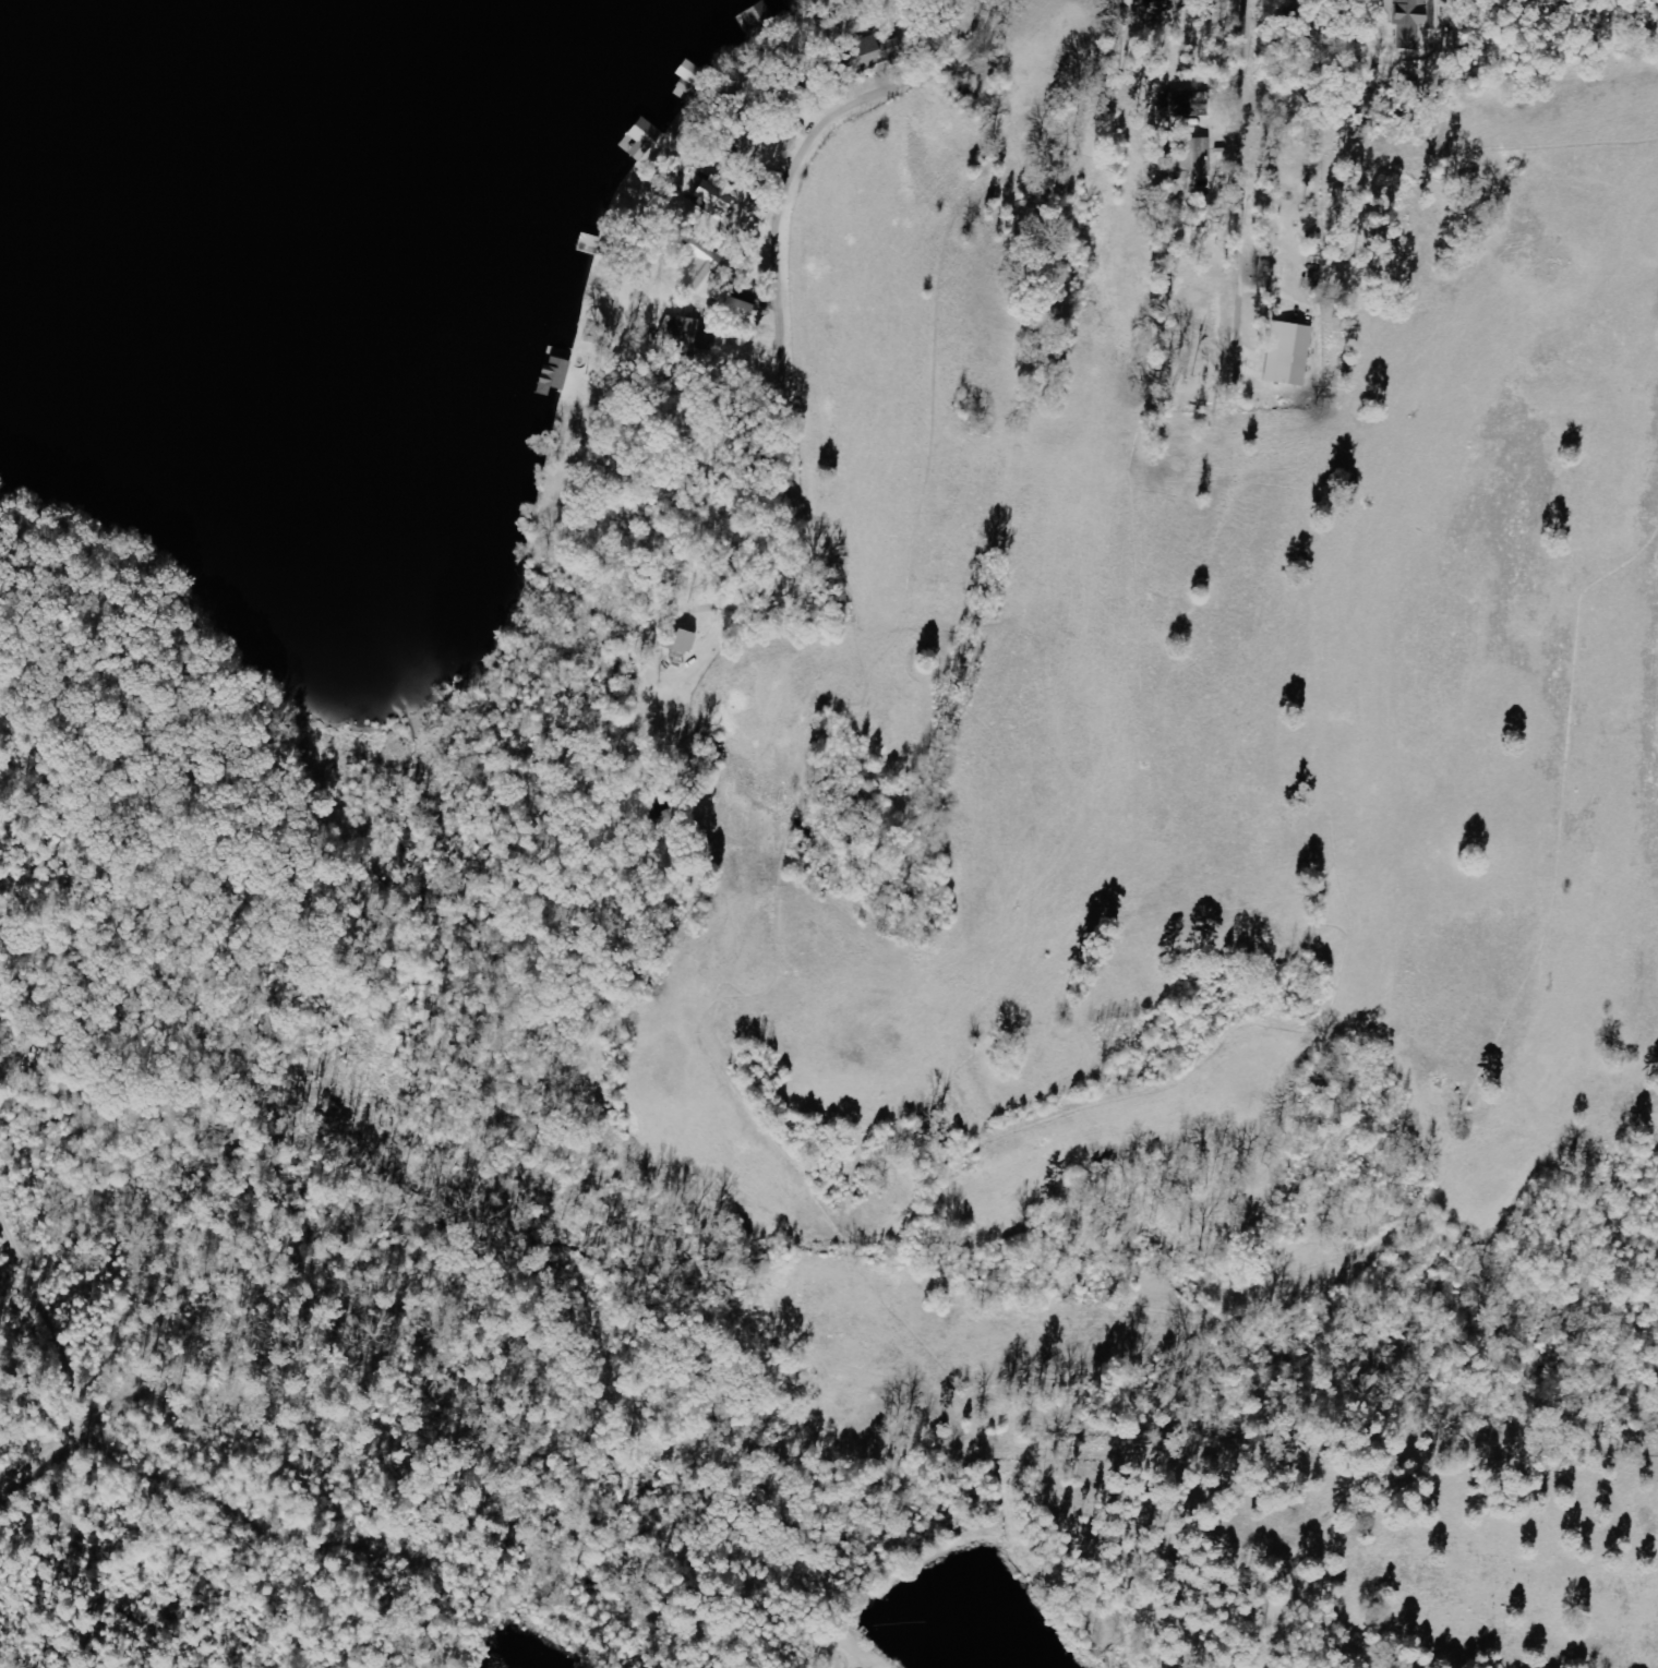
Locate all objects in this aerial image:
building: (1407, 24)
road: (966, 113)
building: (1187, 166)
building: (736, 308)
building: (1285, 355)
building: (680, 643)

